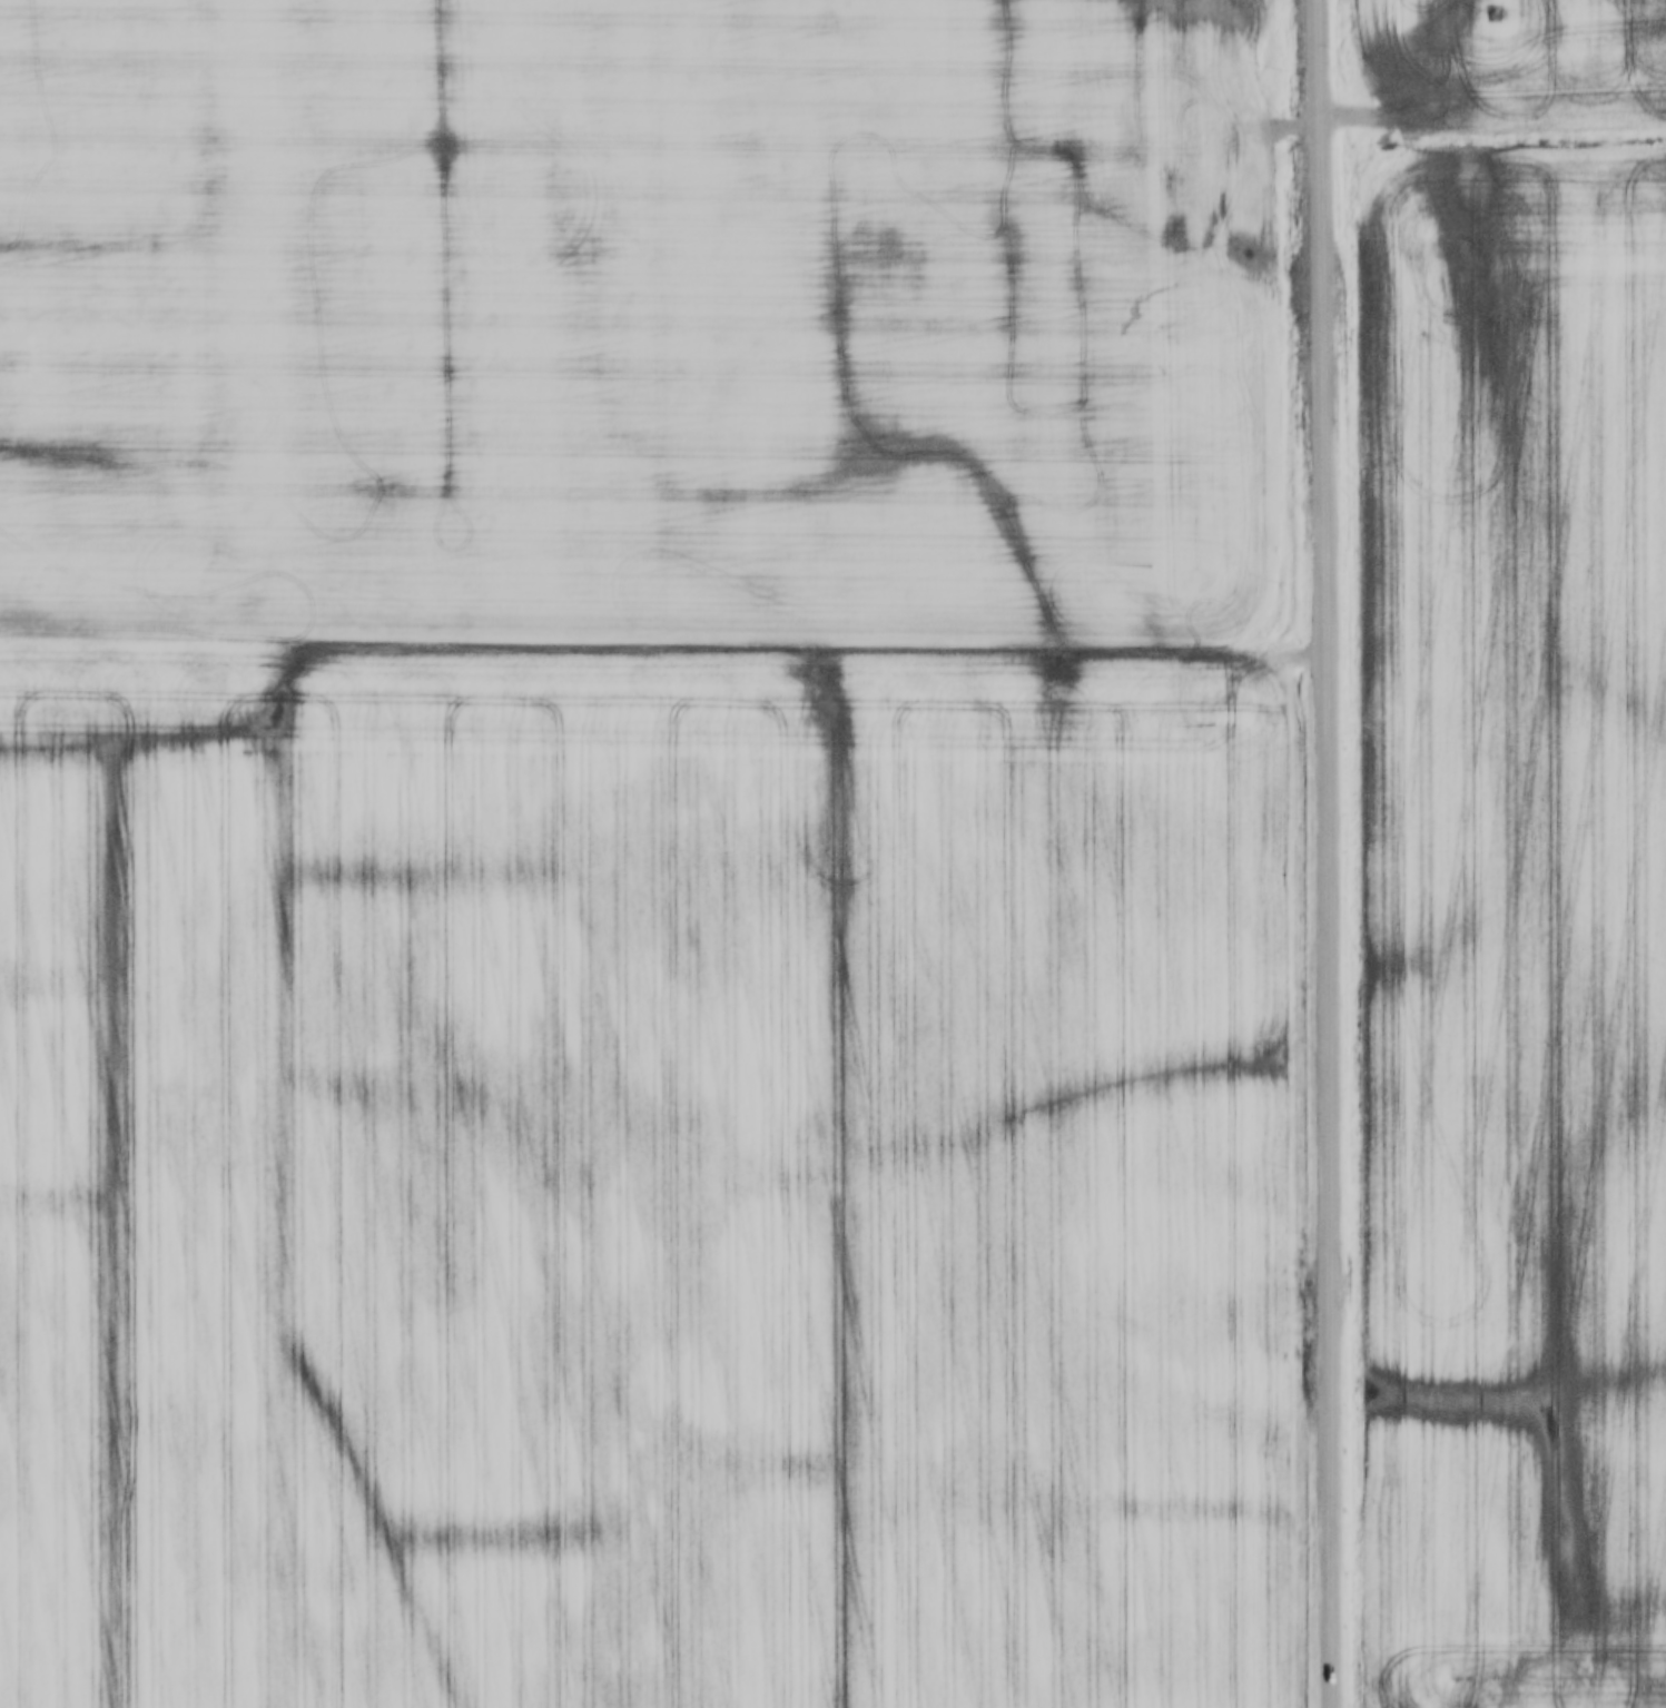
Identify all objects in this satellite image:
road: (1494, 131)
road: (1331, 853)

